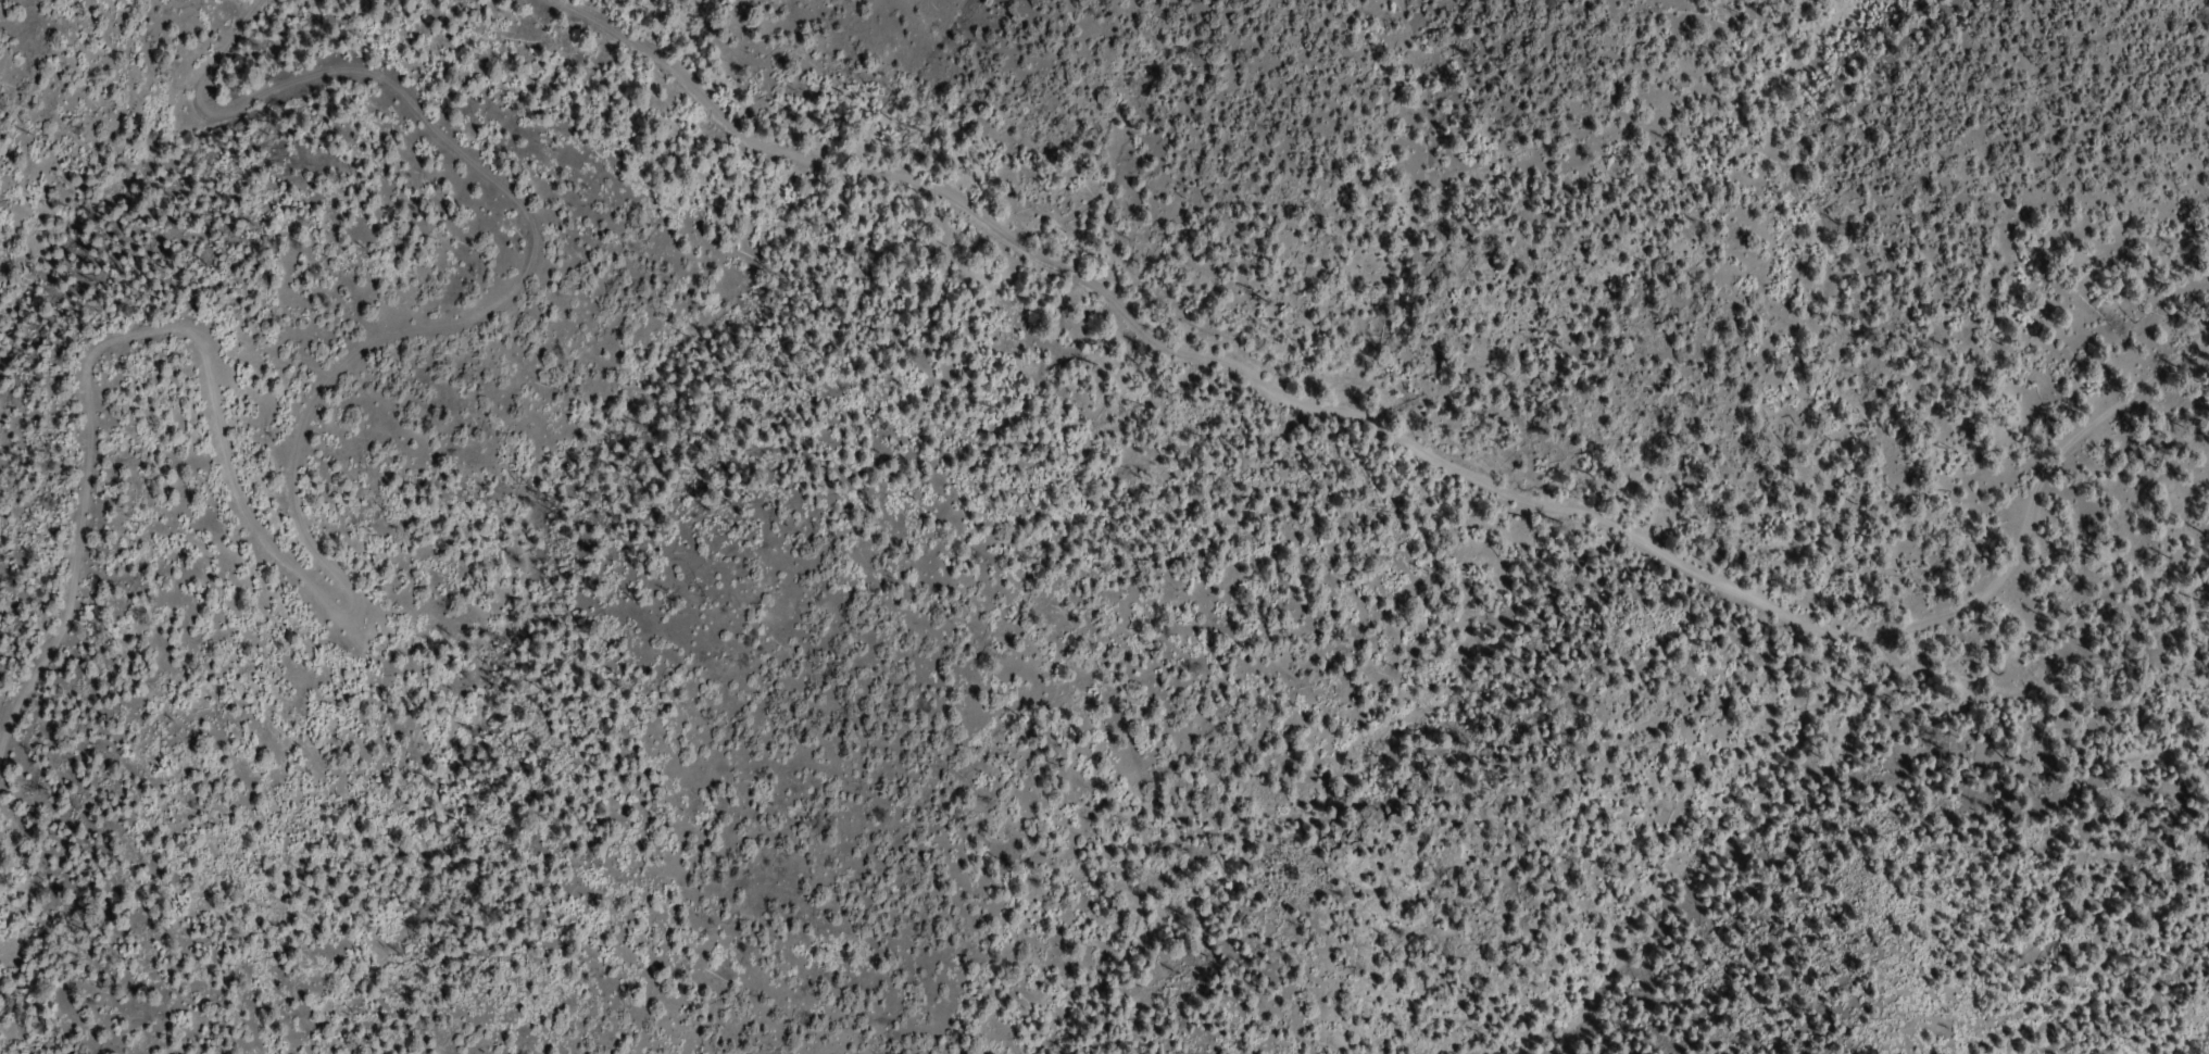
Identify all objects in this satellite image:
road: (1285, 401)
road: (2108, 413)
road: (2116, 441)
road: (297, 529)
road: (2079, 670)

